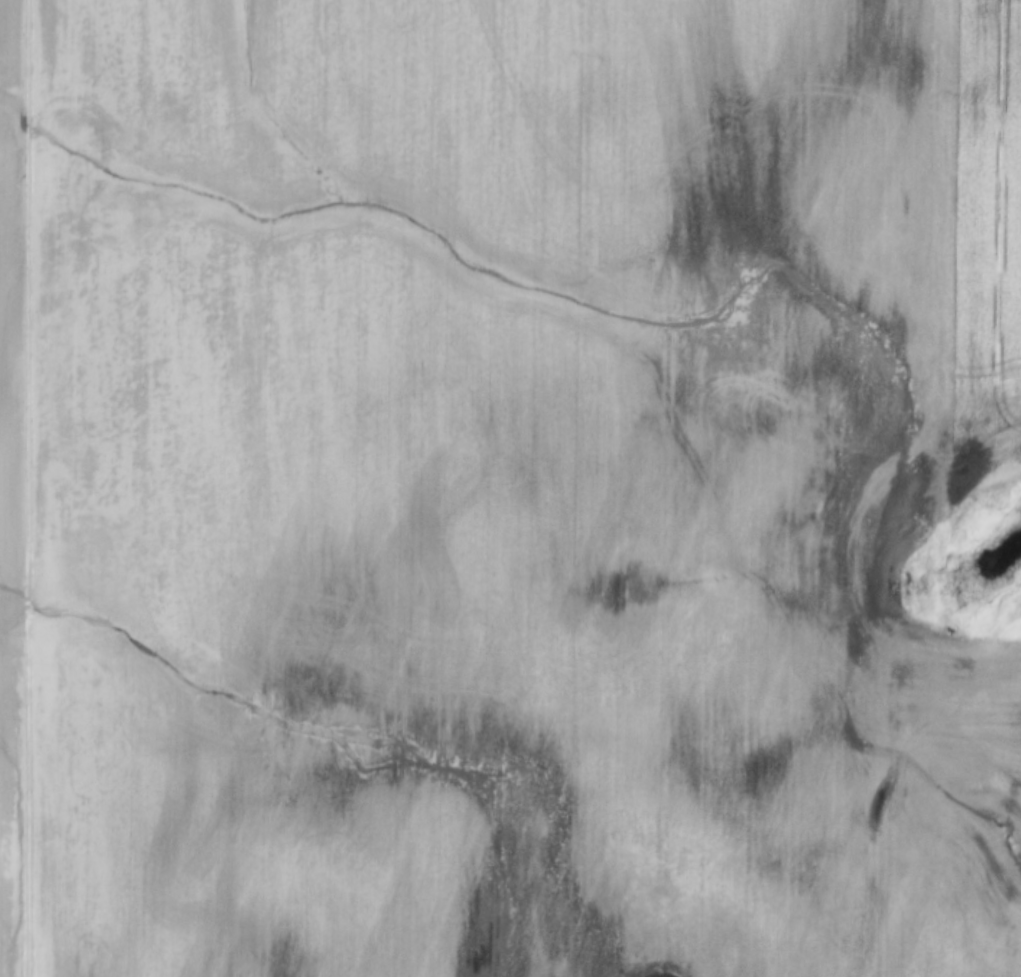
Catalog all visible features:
crop: (988, 228)

